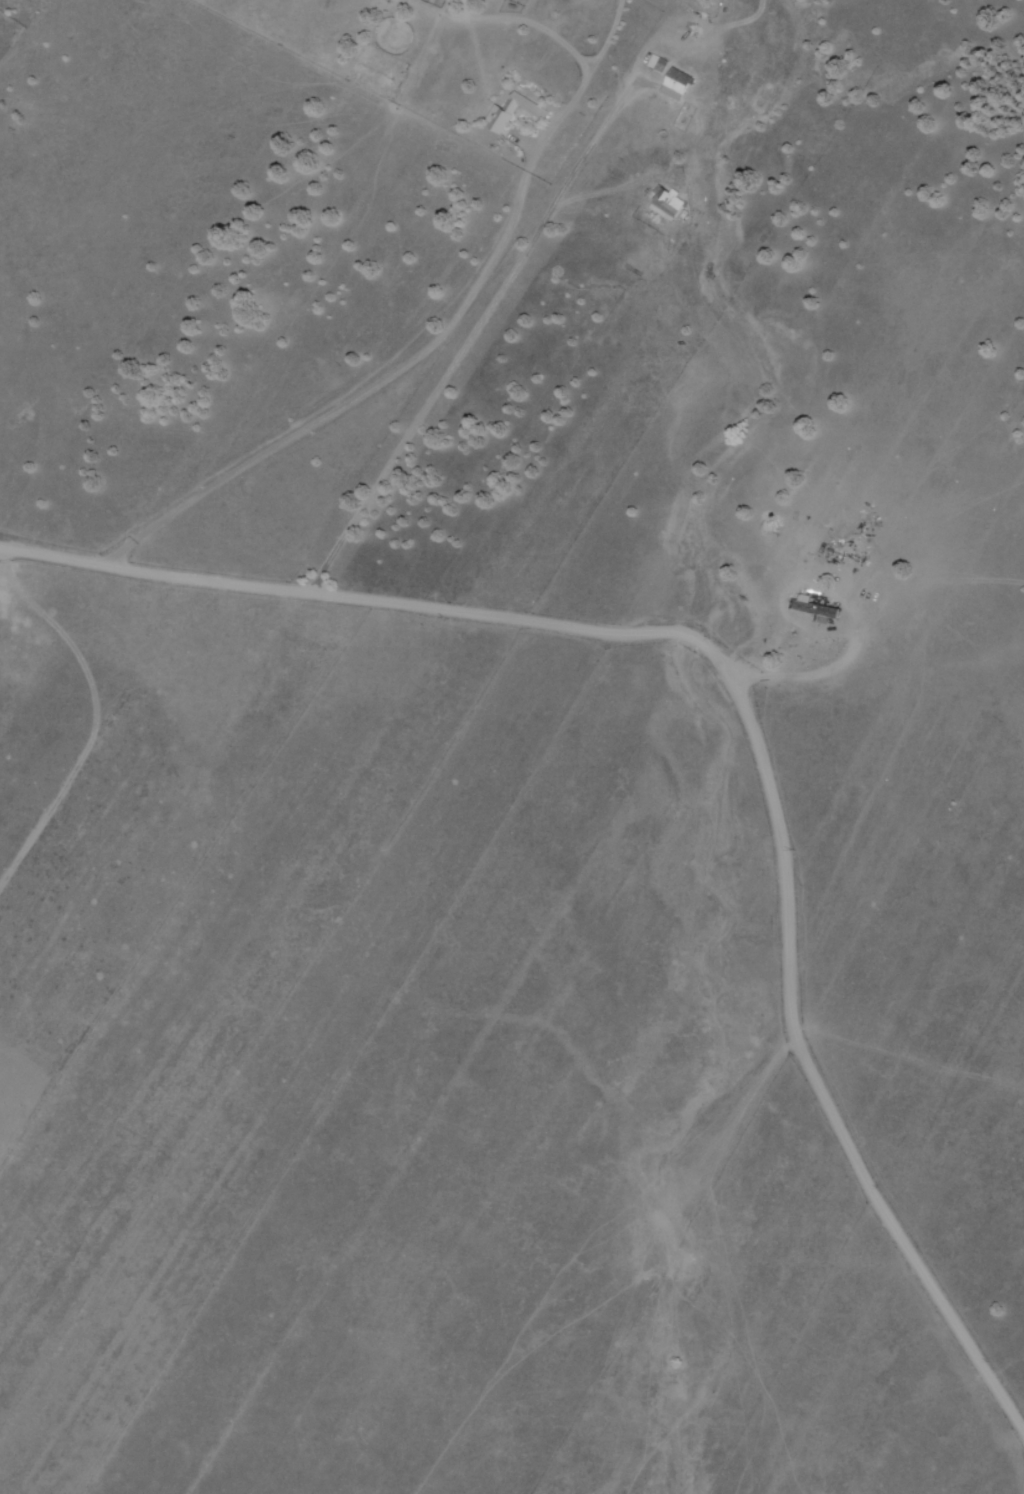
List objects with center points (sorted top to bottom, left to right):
building: (673, 84)
building: (536, 112)
building: (666, 205)
road: (383, 384)
building: (812, 608)
road: (753, 712)

